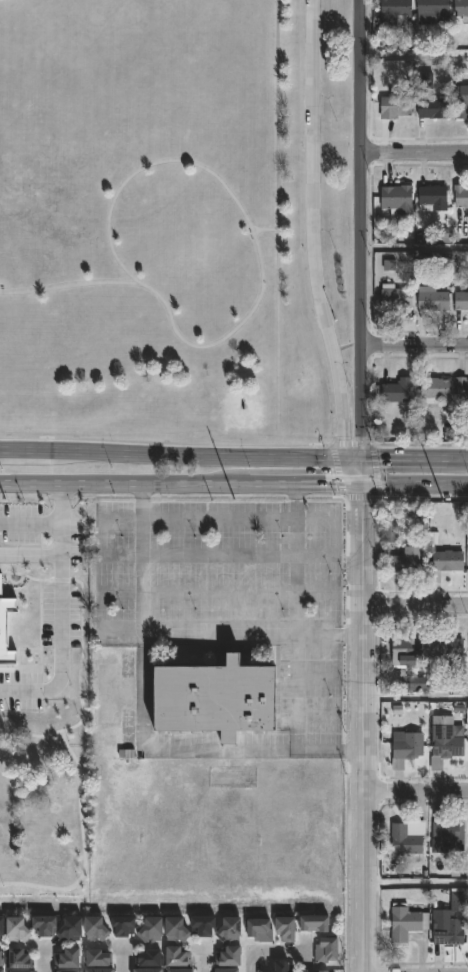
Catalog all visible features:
building: (433, 9)
building: (461, 9)
building: (391, 12)
park: (97, 20)
road: (414, 61)
building: (460, 100)
building: (393, 105)
building: (431, 108)
road: (414, 153)
building: (460, 195)
building: (431, 197)
building: (395, 199)
road: (246, 218)
road: (277, 222)
road: (360, 228)
road: (265, 229)
road: (312, 244)
road: (414, 251)
road: (65, 288)
building: (393, 297)
building: (431, 299)
building: (459, 301)
road: (414, 346)
building: (434, 389)
building: (395, 391)
building: (461, 392)
road: (164, 442)
road: (349, 444)
road: (179, 454)
traffic signals: (343, 457)
traffic signals: (360, 457)
road: (414, 457)
road: (359, 469)
road: (373, 469)
road: (336, 470)
road: (179, 482)
traffic signals: (358, 482)
road: (412, 483)
road: (360, 496)
road: (61, 501)
building: (390, 533)
building: (45, 540)
road: (296, 557)
building: (405, 558)
building: (446, 559)
road: (412, 603)
road: (67, 605)
road: (177, 630)
building: (402, 647)
building: (446, 647)
building: (225, 697)
road: (413, 699)
road: (296, 720)
road: (358, 727)
building: (443, 741)
building: (404, 747)
road: (413, 790)
building: (446, 831)
building: (406, 837)
road: (413, 888)
building: (319, 922)
building: (406, 922)
building: (46, 925)
building: (127, 925)
building: (207, 925)
building: (3, 927)
building: (99, 928)
building: (21, 929)
building: (74, 929)
building: (155, 929)
building: (179, 929)
building: (233, 929)
building: (290, 929)
building: (264, 930)
building: (447, 931)
road: (273, 947)
building: (330, 950)
building: (181, 956)
building: (233, 956)
building: (2, 957)
road: (45, 957)
building: (24, 958)
building: (71, 958)
building: (100, 958)
building: (152, 958)
road: (123, 959)
road: (205, 961)
building: (287, 966)
building: (2, 970)
building: (101, 970)
building: (152, 970)
building: (182, 970)
building: (228, 970)
building: (21, 971)
building: (69, 971)
building: (328, 971)

